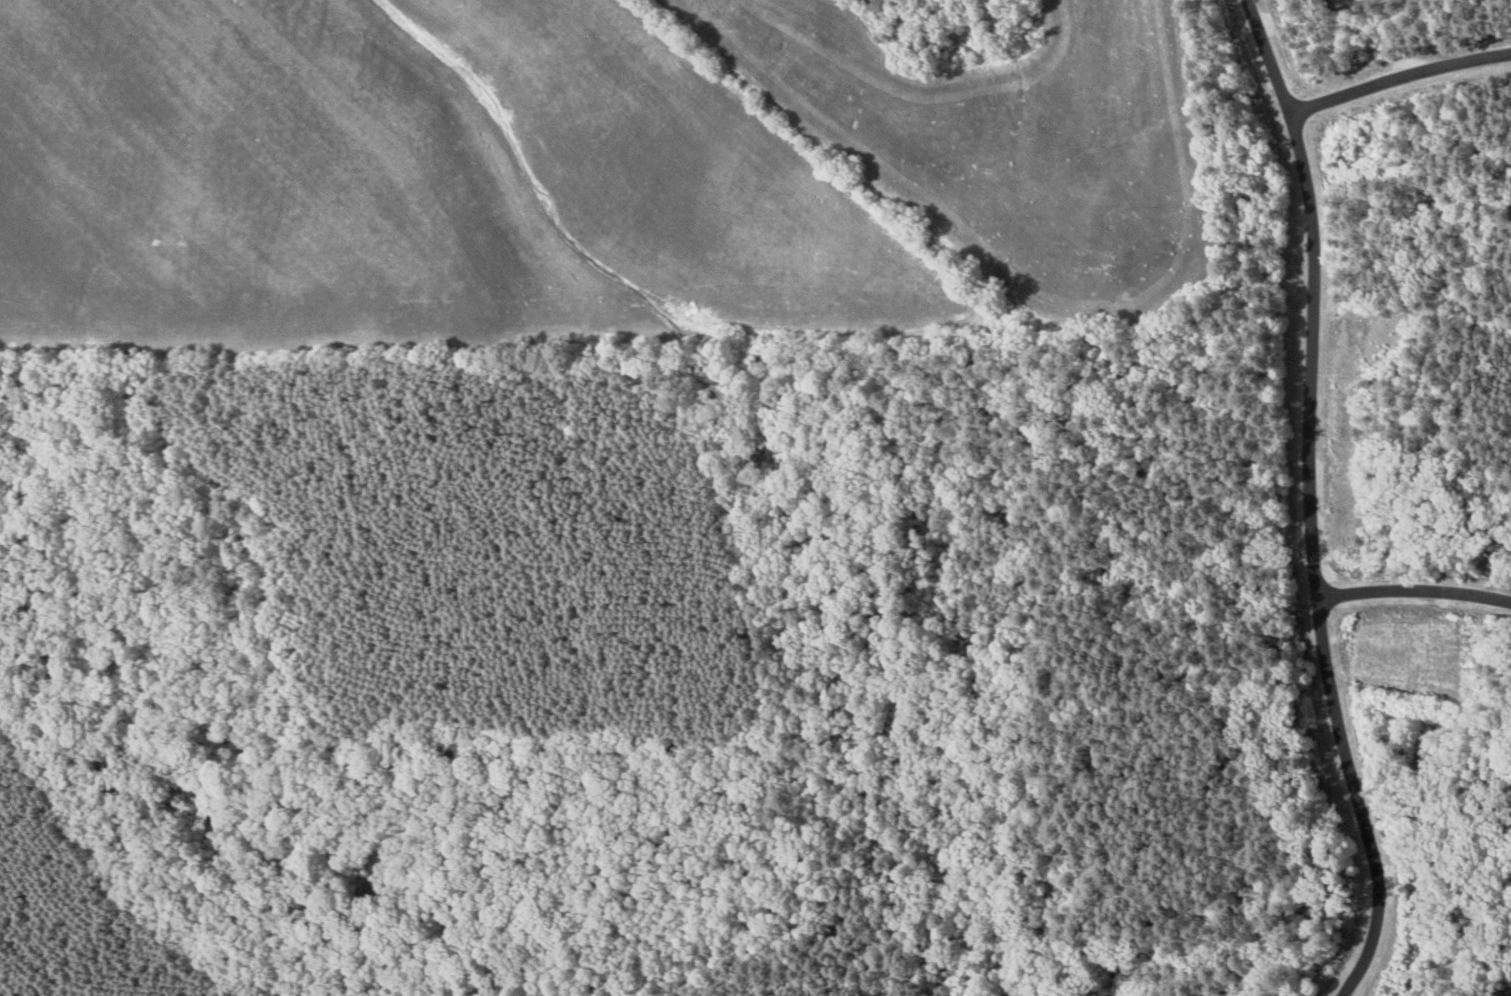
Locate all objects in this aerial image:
road: (1398, 79)
road: (1309, 500)
road: (1414, 591)

